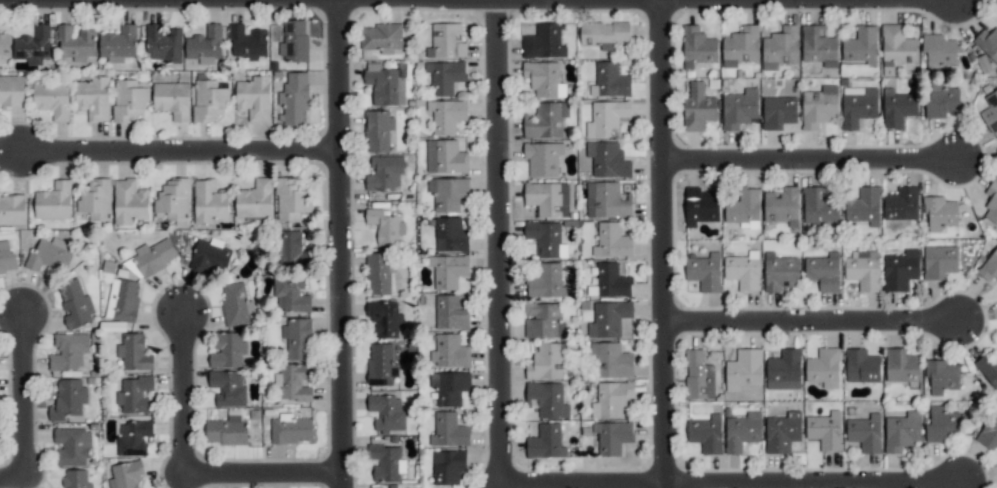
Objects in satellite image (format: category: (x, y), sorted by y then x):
road: (810, 0)
building: (603, 33)
building: (382, 37)
building: (293, 40)
building: (446, 41)
building: (247, 42)
building: (543, 42)
building: (76, 43)
building: (118, 43)
building: (987, 43)
building: (4, 44)
building: (163, 44)
building: (205, 44)
building: (33, 45)
building: (897, 45)
building: (697, 46)
building: (741, 46)
building: (818, 46)
building: (861, 46)
building: (780, 47)
building: (939, 51)
building: (444, 76)
building: (544, 78)
building: (609, 80)
building: (385, 84)
building: (12, 91)
building: (254, 97)
building: (93, 98)
building: (52, 99)
building: (172, 99)
building: (128, 100)
building: (208, 100)
building: (294, 100)
building: (941, 101)
building: (858, 105)
building: (697, 106)
building: (819, 107)
building: (739, 108)
building: (897, 108)
building: (990, 111)
building: (778, 112)
building: (446, 115)
building: (606, 118)
building: (545, 120)
building: (378, 131)
road: (182, 151)
building: (445, 156)
building: (542, 158)
building: (607, 159)
road: (812, 162)
building: (385, 173)
building: (448, 193)
building: (547, 198)
building: (96, 199)
building: (174, 199)
building: (254, 199)
building: (291, 199)
building: (607, 200)
building: (54, 201)
building: (129, 201)
building: (209, 201)
building: (991, 202)
building: (901, 204)
building: (700, 206)
building: (782, 206)
building: (864, 206)
building: (12, 208)
building: (820, 208)
building: (744, 209)
building: (939, 213)
building: (385, 226)
building: (450, 235)
building: (546, 238)
building: (612, 241)
road: (499, 242)
road: (342, 244)
road: (662, 244)
building: (292, 249)
building: (50, 254)
building: (209, 255)
building: (154, 256)
building: (7, 257)
building: (939, 261)
building: (989, 266)
building: (863, 269)
building: (448, 270)
building: (743, 270)
building: (900, 270)
building: (823, 271)
building: (704, 272)
building: (780, 272)
building: (378, 273)
building: (612, 280)
building: (546, 281)
building: (290, 294)
building: (122, 299)
building: (75, 304)
building: (236, 305)
building: (450, 313)
building: (384, 317)
building: (608, 318)
building: (543, 320)
road: (813, 323)
building: (297, 338)
building: (227, 350)
building: (69, 351)
building: (449, 351)
building: (134, 352)
building: (611, 360)
building: (546, 361)
building: (901, 365)
building: (861, 366)
building: (823, 367)
building: (743, 369)
building: (784, 370)
building: (988, 370)
building: (696, 375)
building: (942, 376)
building: (292, 383)
building: (228, 387)
building: (449, 387)
building: (134, 394)
building: (612, 398)
building: (68, 399)
building: (547, 399)
road: (25, 404)
building: (387, 412)
building: (942, 425)
building: (291, 429)
building: (448, 430)
building: (825, 430)
building: (226, 431)
building: (742, 431)
building: (902, 431)
building: (782, 432)
building: (989, 432)
building: (706, 433)
building: (865, 433)
building: (133, 437)
building: (612, 437)
building: (545, 442)
building: (72, 445)
building: (386, 462)
building: (448, 466)
road: (186, 472)
building: (126, 474)
building: (76, 479)
road: (734, 485)

